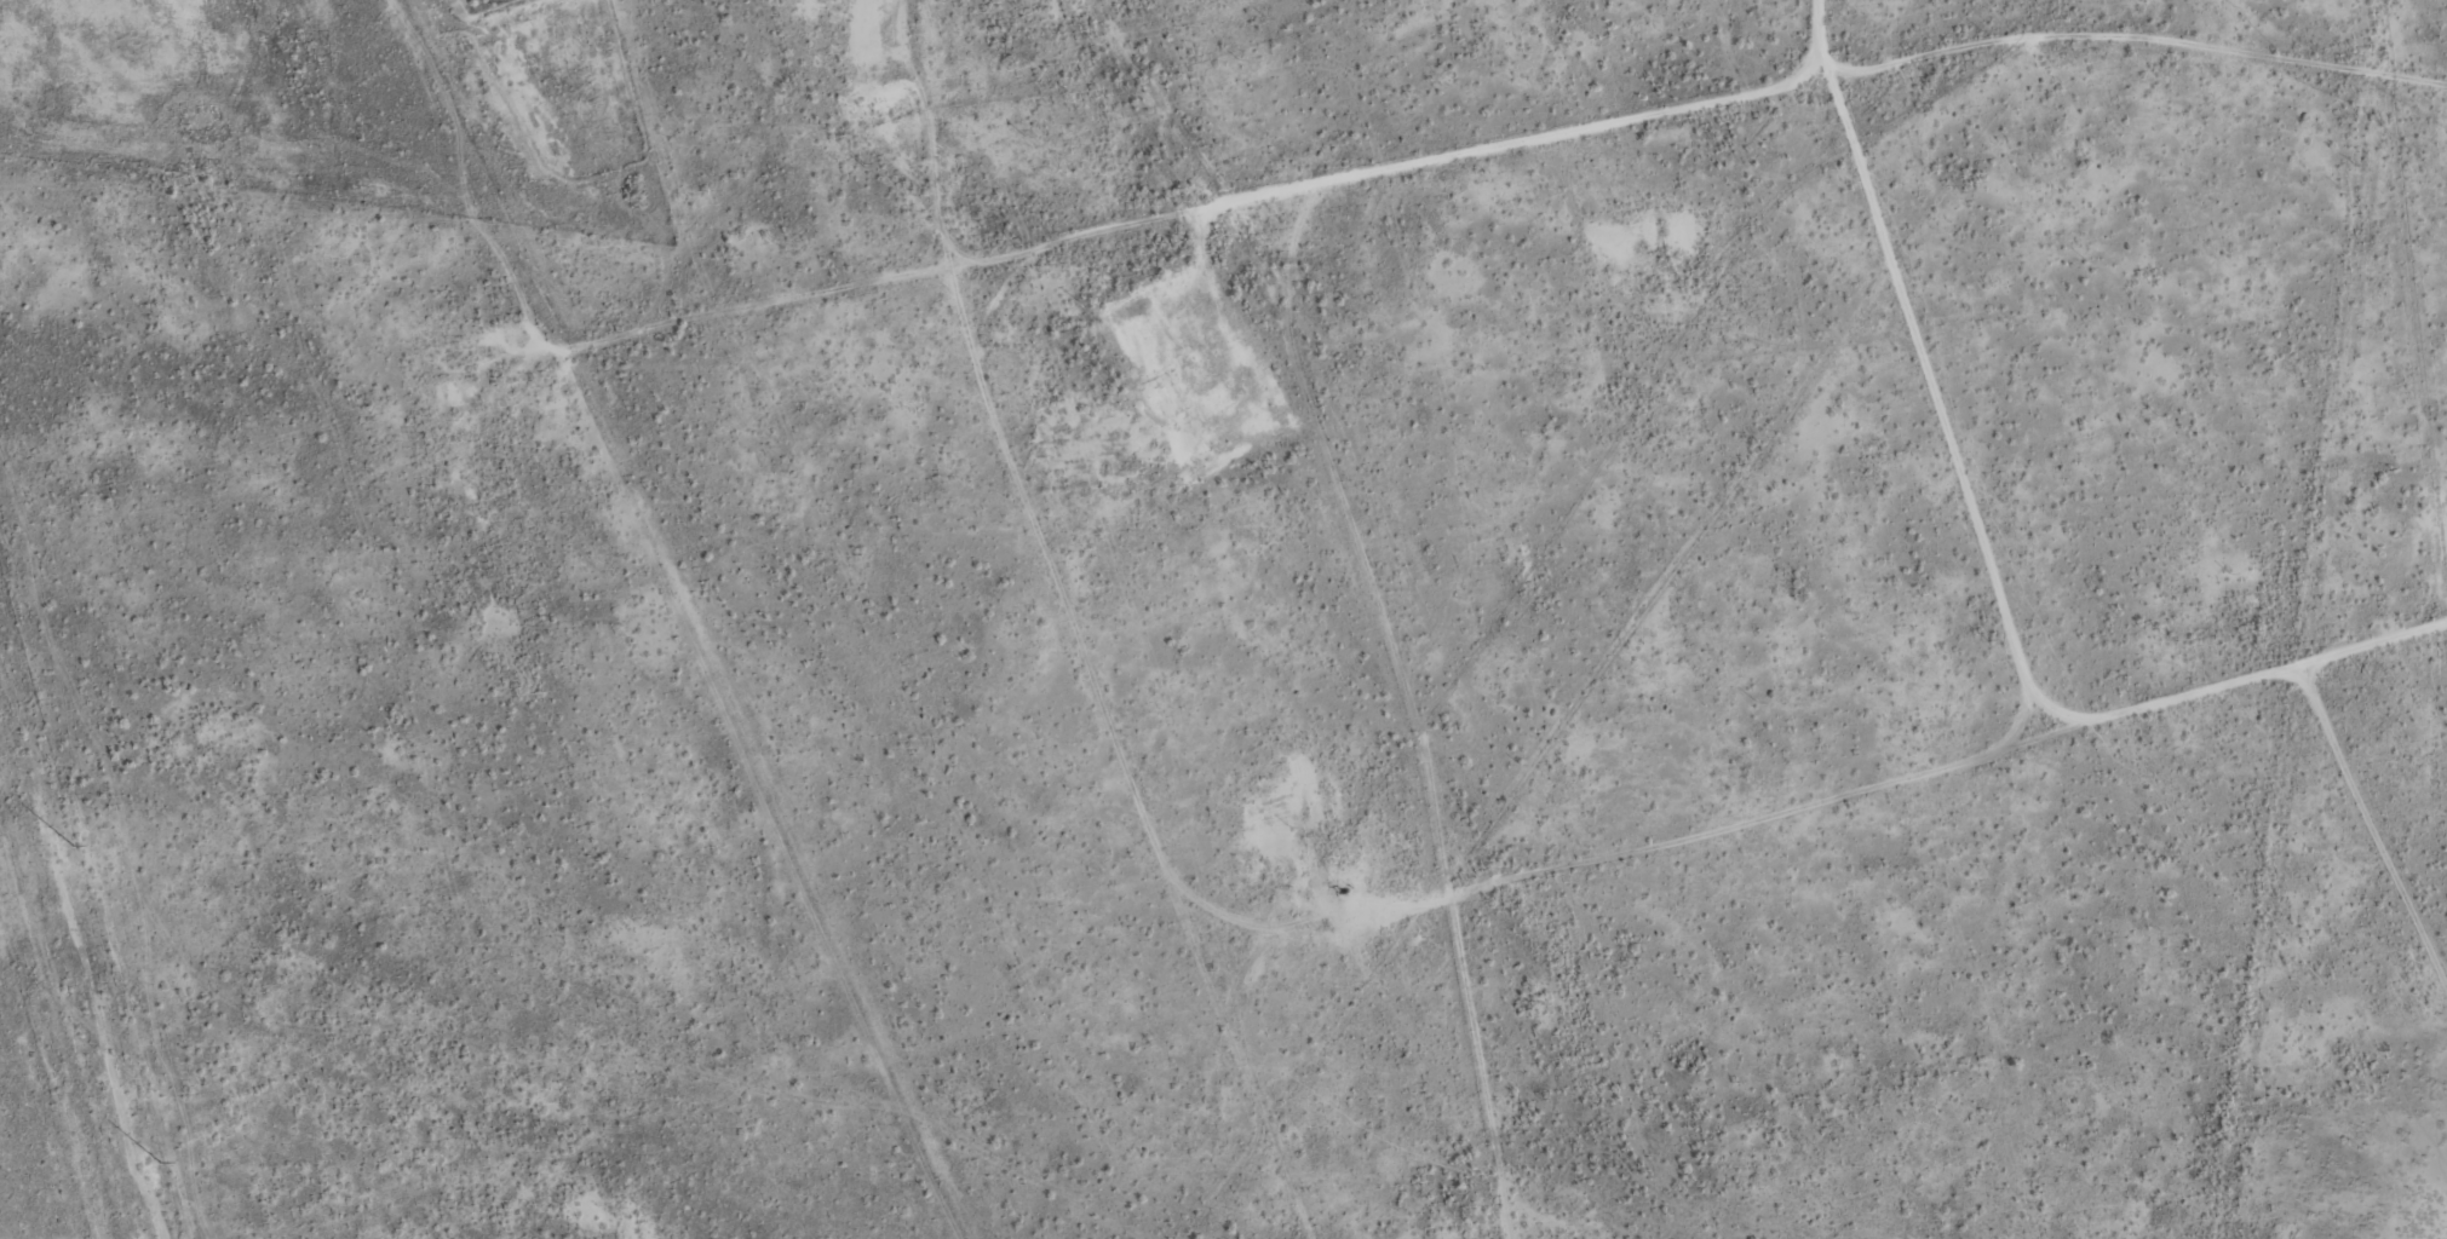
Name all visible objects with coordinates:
power tower: (71, 841)
power tower: (154, 1163)

